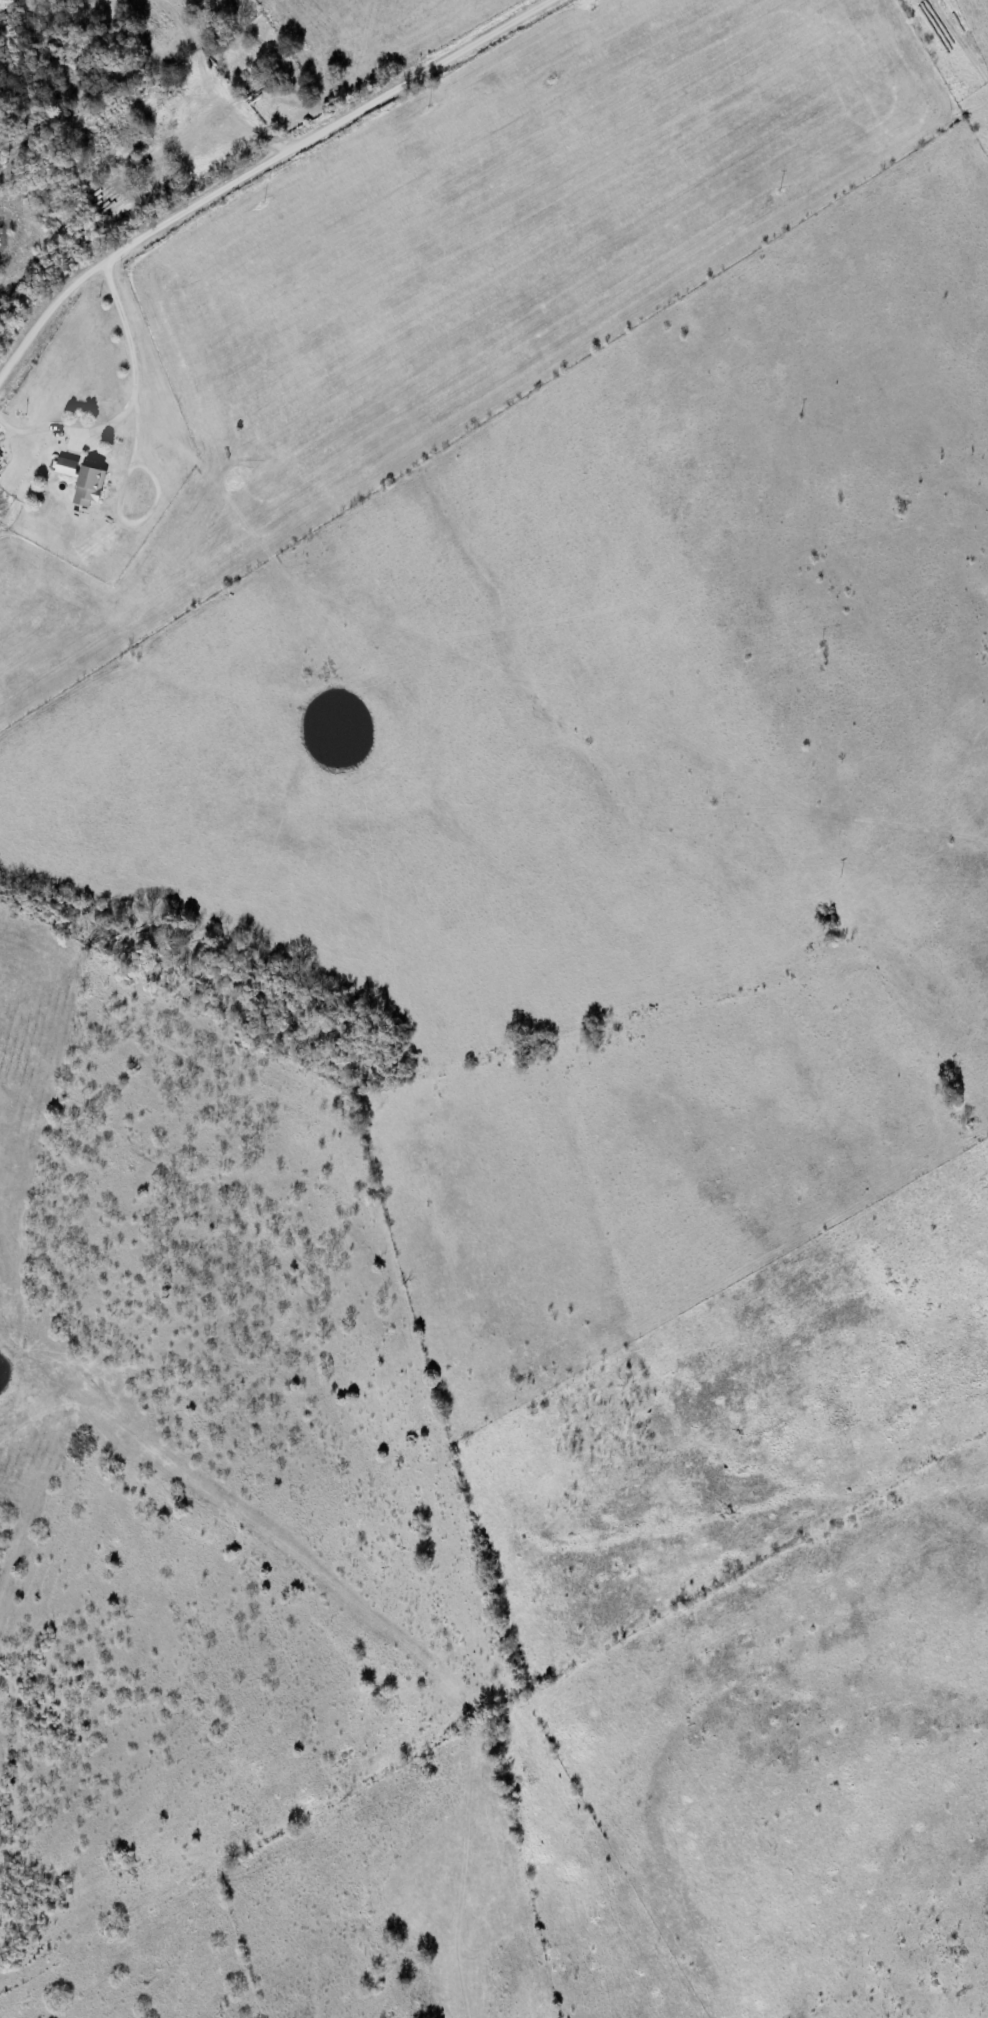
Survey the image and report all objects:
road: (223, 180)
building: (0, 458)
building: (68, 467)

